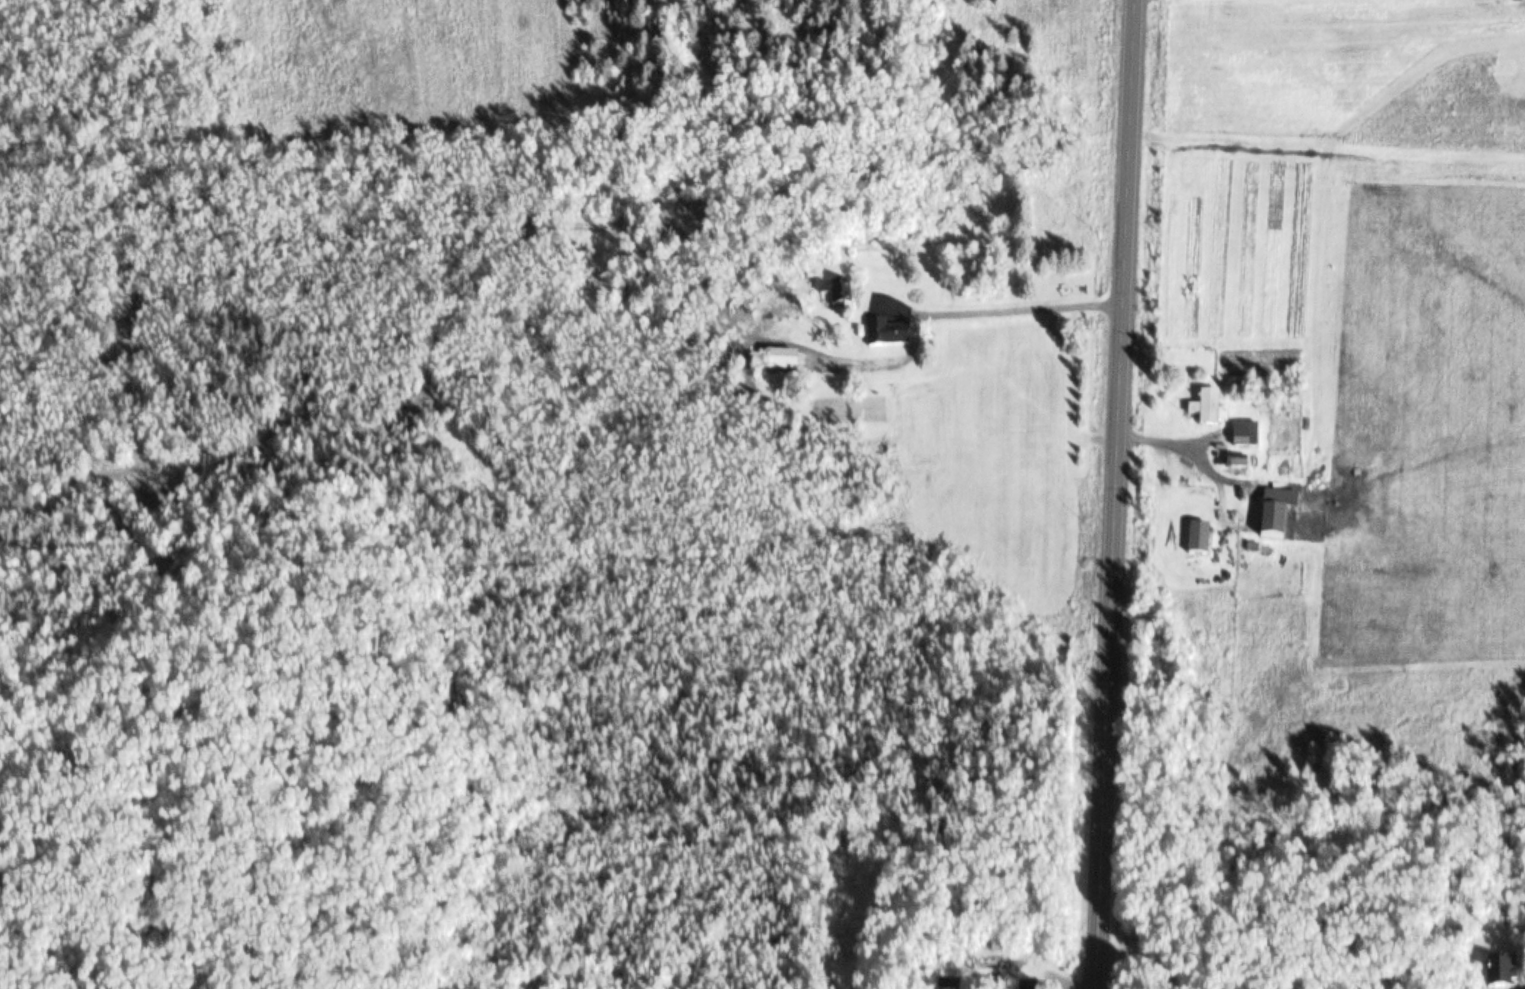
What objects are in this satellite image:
building: (842, 295)
building: (891, 336)
building: (788, 364)
building: (1213, 411)
building: (1250, 436)
building: (1240, 464)
road: (1117, 494)
building: (1282, 513)
building: (1202, 540)
building: (1509, 977)
building: (1037, 987)

